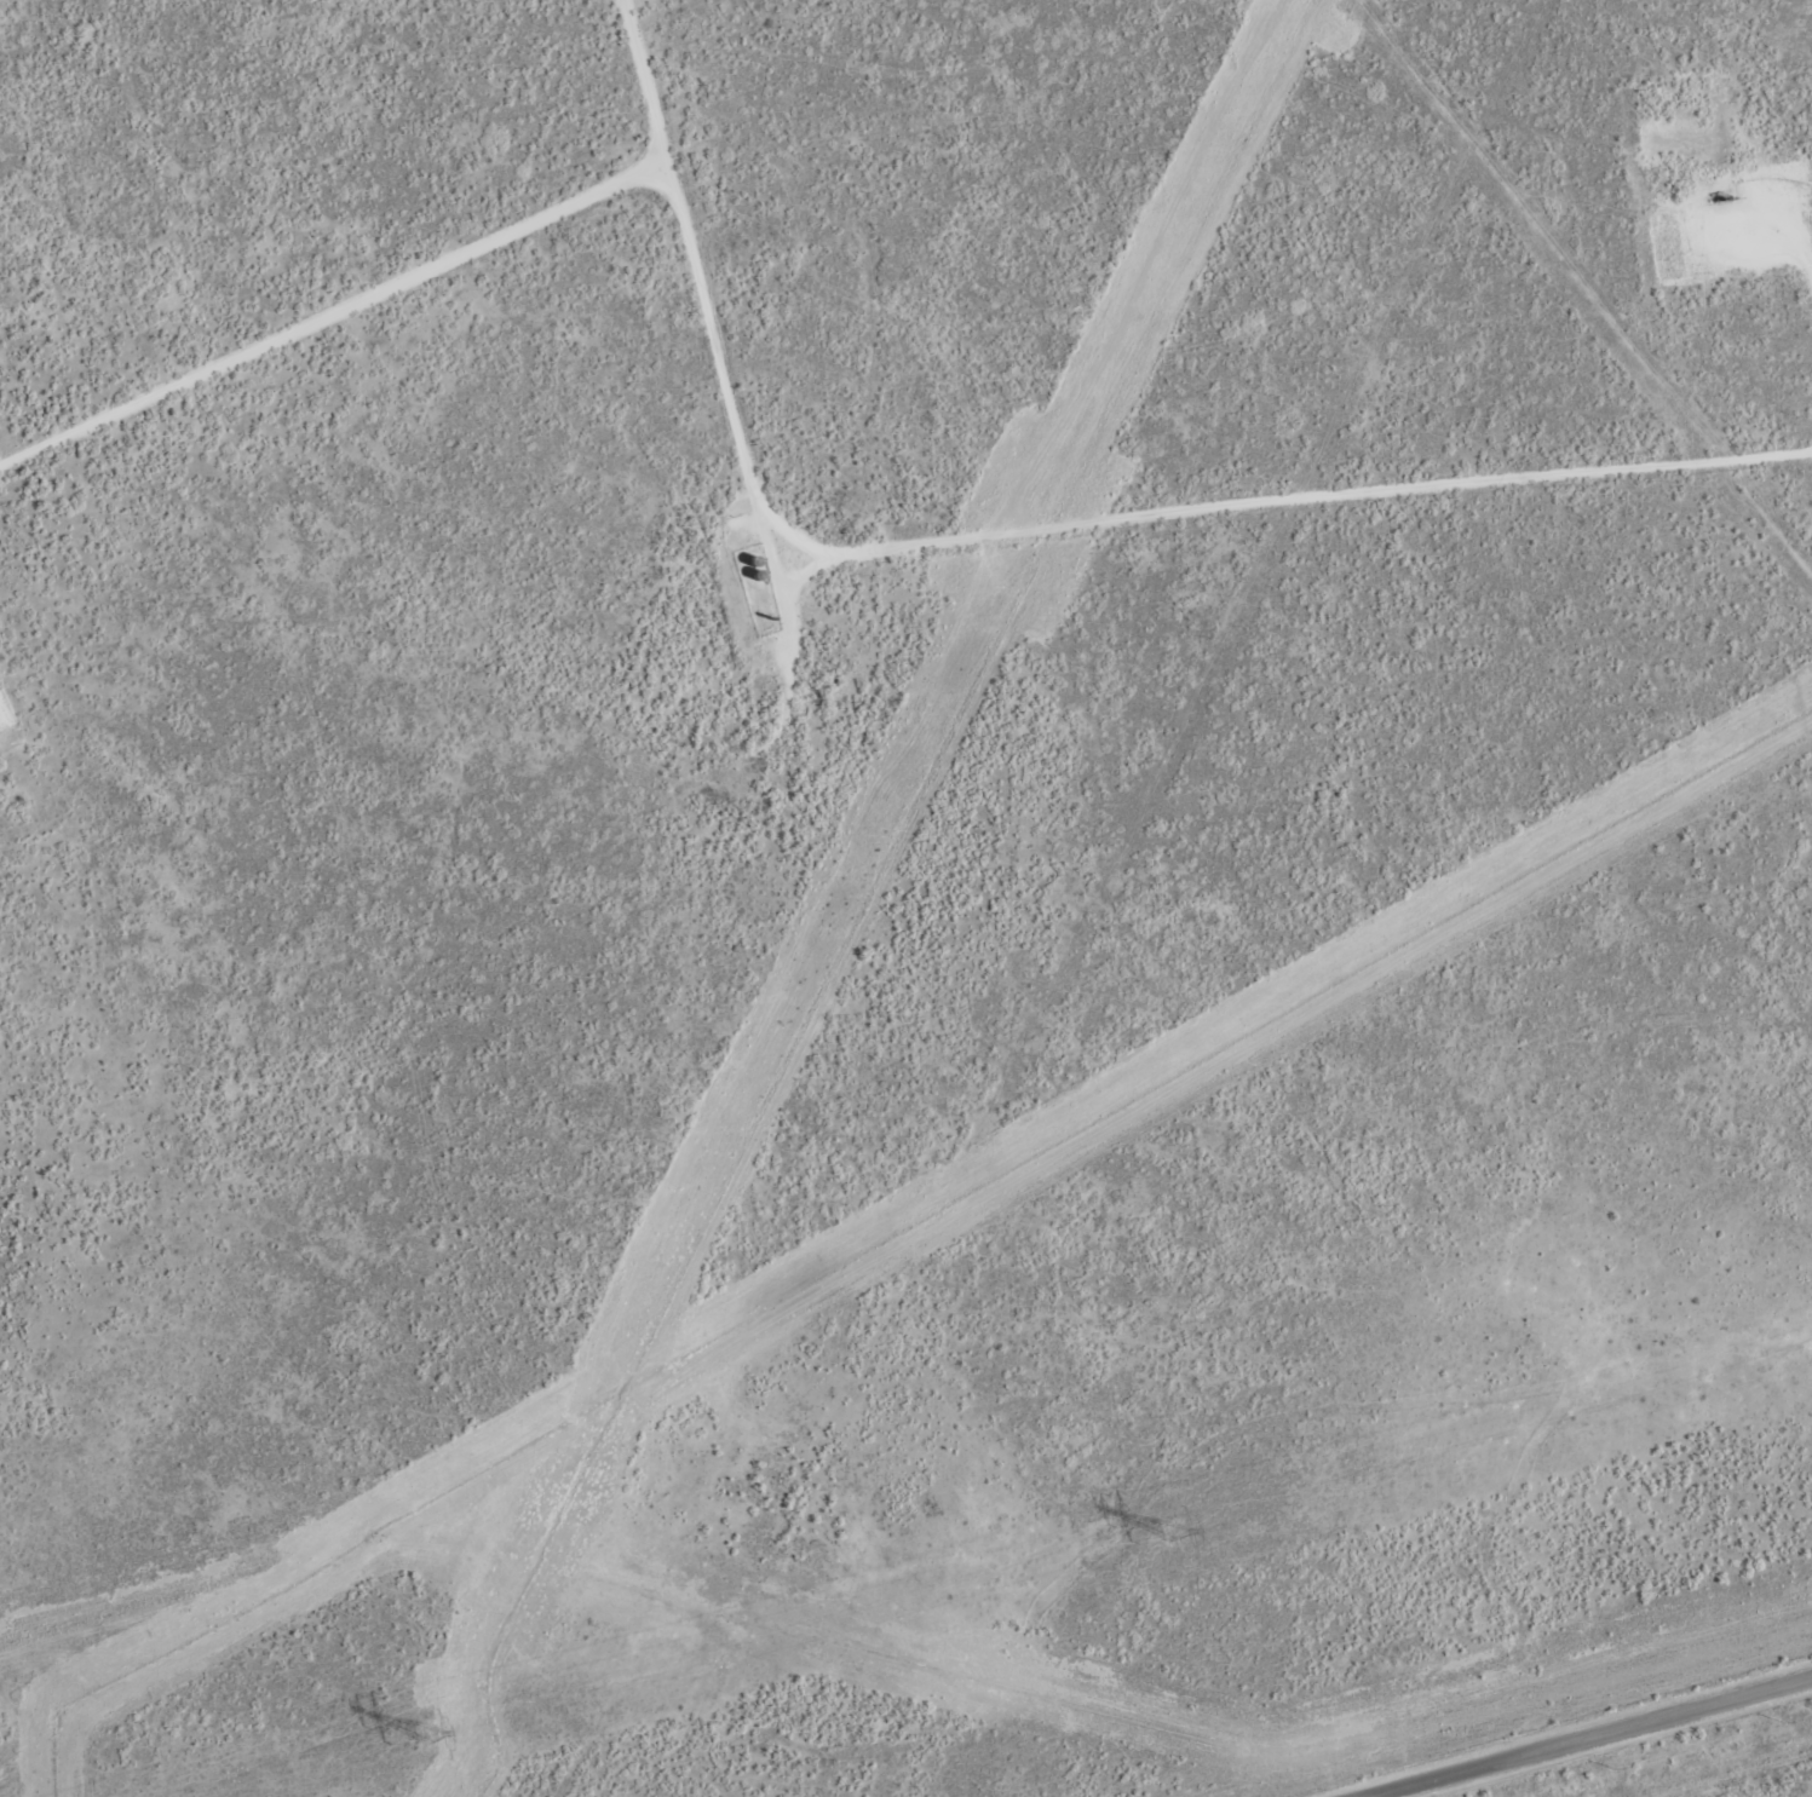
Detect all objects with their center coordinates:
power tower: (1164, 1533)
power tower: (424, 1734)
road: (1597, 1739)

